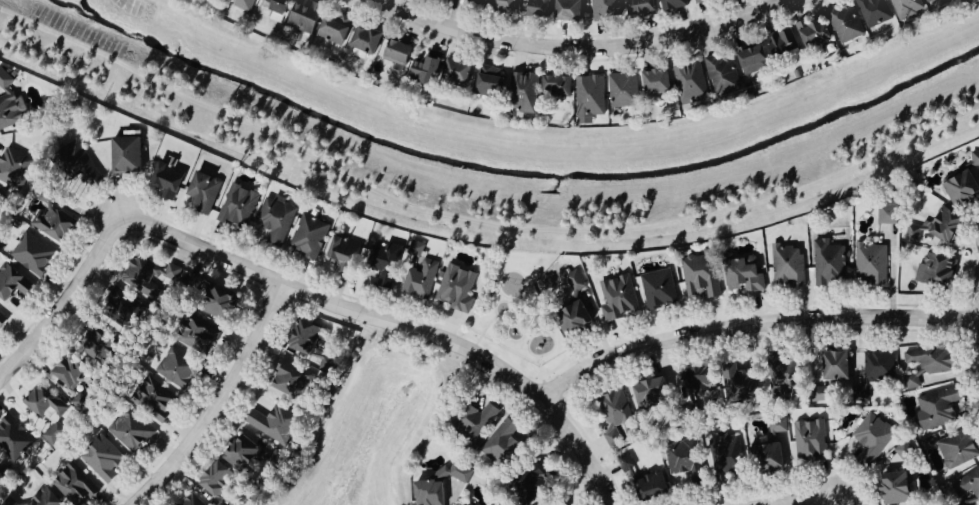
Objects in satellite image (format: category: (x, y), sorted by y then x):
building: (215, 0)
building: (442, 0)
building: (700, 1)
building: (928, 1)
building: (241, 4)
building: (473, 4)
building: (671, 5)
building: (502, 6)
building: (274, 8)
building: (638, 8)
building: (905, 8)
building: (537, 9)
building: (565, 11)
building: (604, 11)
building: (872, 12)
building: (302, 18)
building: (843, 23)
building: (332, 28)
building: (811, 34)
building: (363, 40)
building: (780, 44)
road: (582, 50)
building: (394, 53)
building: (751, 59)
building: (423, 73)
building: (454, 73)
building: (721, 74)
building: (3, 81)
building: (487, 83)
building: (654, 84)
building: (689, 84)
building: (554, 88)
building: (621, 91)
building: (521, 94)
building: (588, 97)
building: (10, 112)
building: (124, 155)
building: (975, 160)
building: (76, 163)
building: (10, 167)
building: (165, 181)
building: (959, 188)
building: (201, 193)
building: (236, 207)
building: (887, 212)
building: (51, 220)
building: (274, 220)
building: (943, 225)
building: (307, 237)
building: (341, 251)
building: (31, 254)
building: (827, 264)
building: (381, 265)
building: (870, 265)
building: (786, 266)
road: (892, 271)
building: (937, 272)
building: (139, 275)
building: (741, 276)
building: (699, 277)
building: (418, 280)
building: (573, 282)
building: (11, 283)
building: (454, 289)
building: (657, 289)
building: (617, 298)
road: (66, 299)
building: (216, 302)
building: (119, 308)
park: (520, 311)
building: (571, 319)
building: (1, 320)
road: (753, 322)
road: (394, 323)
building: (195, 335)
building: (303, 338)
building: (95, 344)
building: (928, 360)
building: (327, 365)
building: (832, 366)
building: (176, 369)
building: (67, 371)
building: (873, 371)
building: (782, 376)
building: (288, 380)
building: (696, 380)
building: (738, 383)
building: (651, 392)
building: (819, 394)
building: (152, 400)
building: (80, 402)
road: (219, 403)
building: (613, 408)
building: (936, 408)
building: (45, 411)
building: (471, 423)
building: (274, 424)
building: (776, 426)
building: (128, 432)
building: (13, 439)
building: (869, 440)
building: (808, 442)
building: (503, 445)
building: (957, 448)
building: (903, 452)
building: (240, 453)
building: (725, 457)
building: (765, 459)
building: (101, 460)
building: (683, 461)
building: (3, 476)
building: (215, 482)
building: (73, 486)
building: (529, 487)
building: (648, 488)
building: (893, 488)
building: (968, 488)
building: (427, 493)
building: (43, 499)
building: (190, 501)
road: (809, 501)
building: (7, 503)
building: (557, 503)
building: (465, 504)
building: (493, 504)

